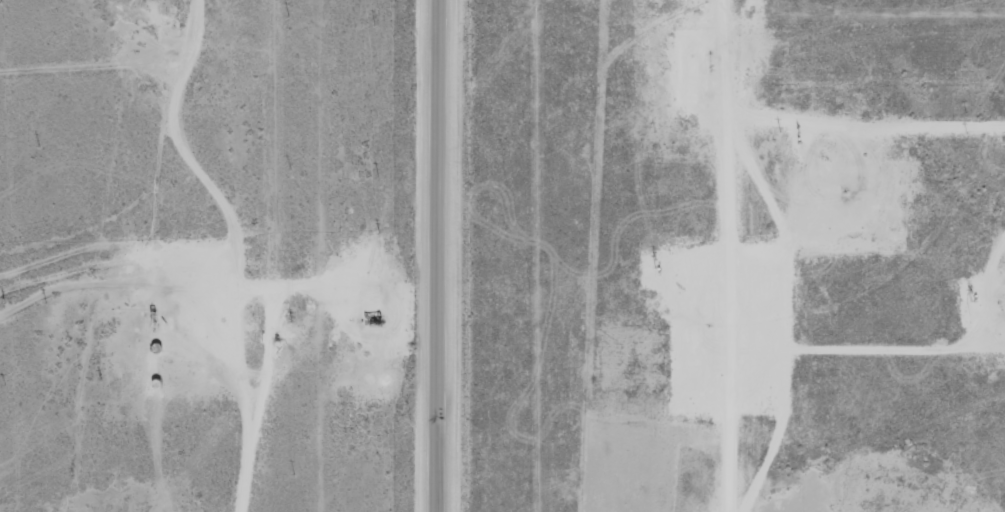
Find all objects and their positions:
road: (125, 76)
road: (436, 256)
road: (738, 256)
road: (175, 293)

